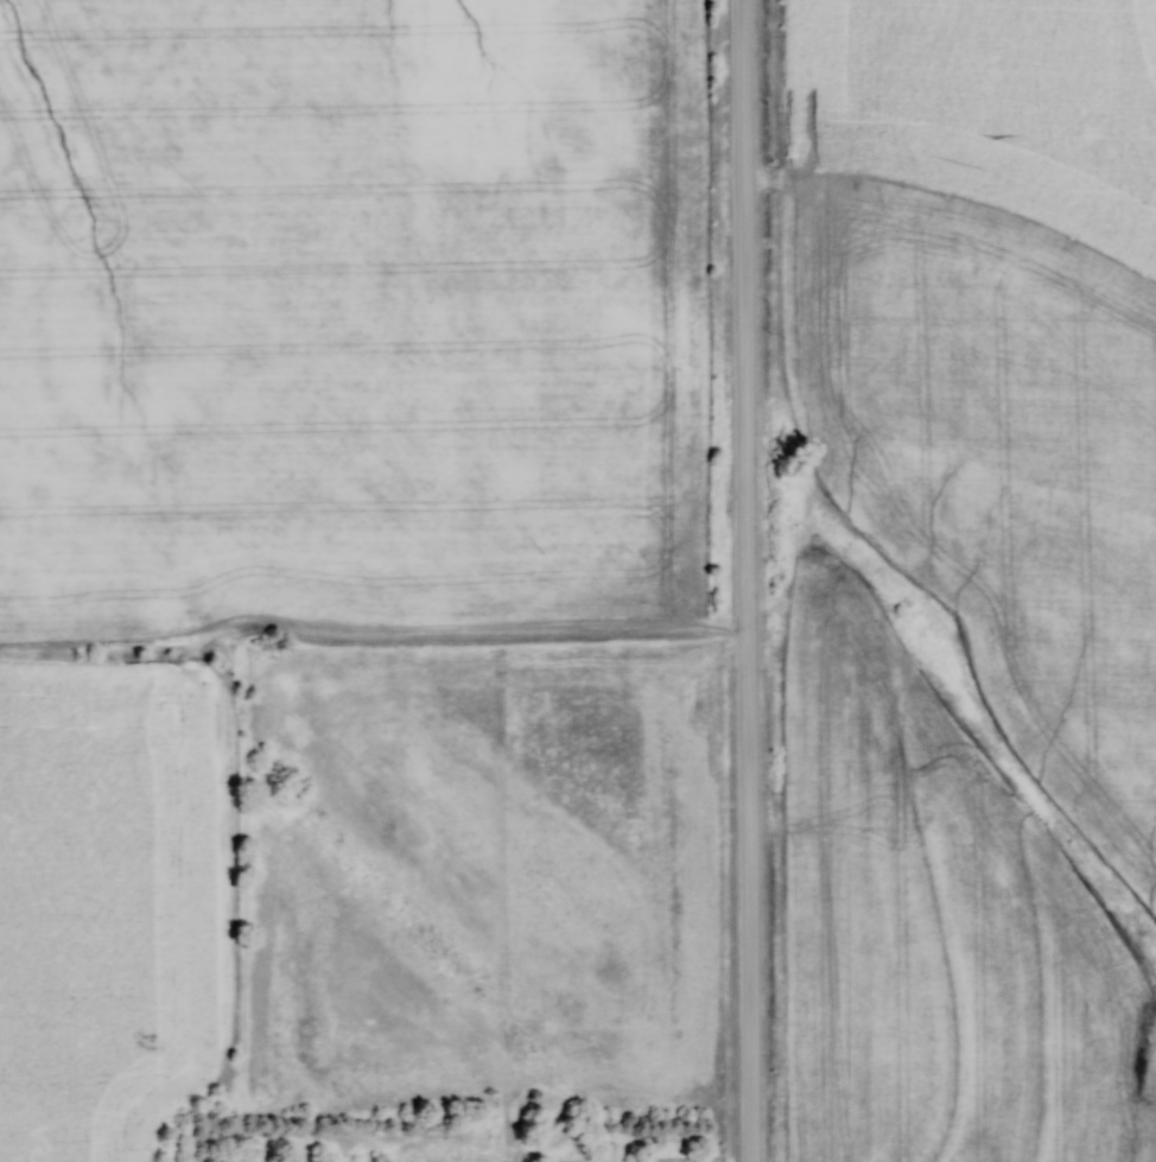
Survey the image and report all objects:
road: (747, 580)

